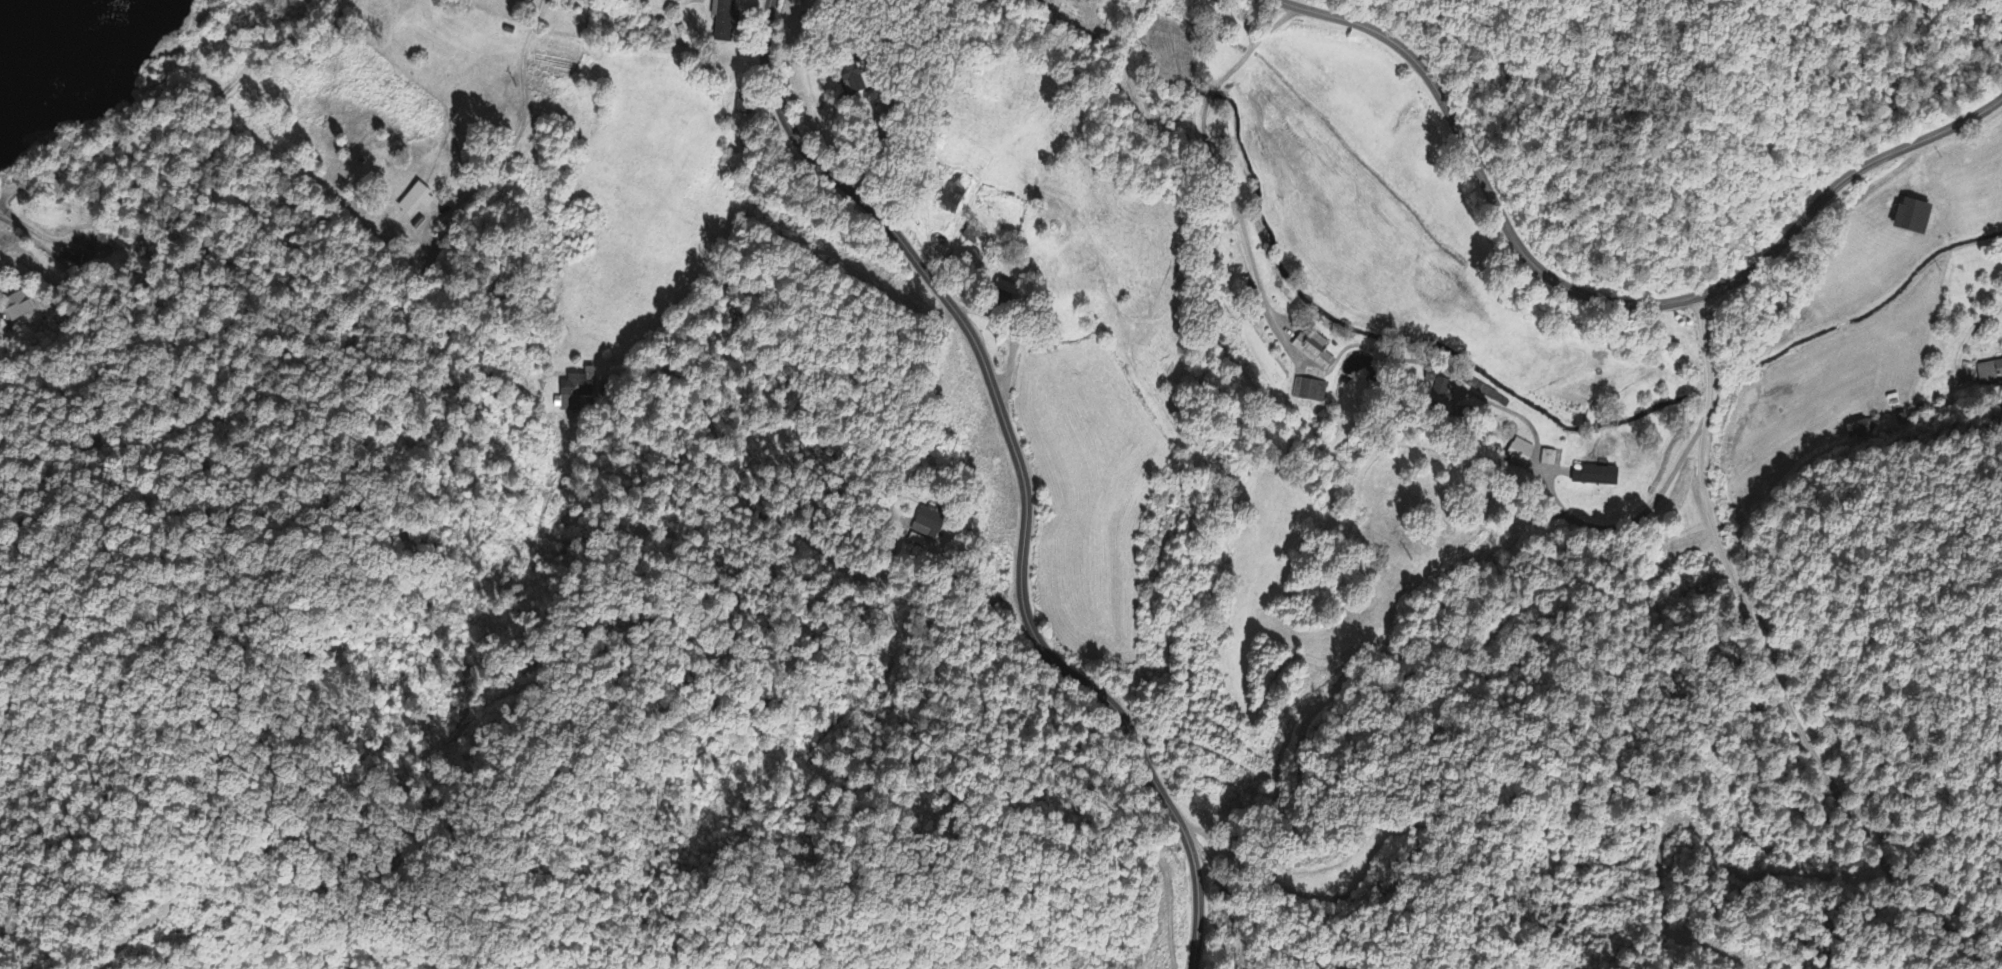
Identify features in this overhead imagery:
building: (723, 21)
building: (855, 81)
road: (190, 117)
building: (953, 196)
building: (417, 202)
building: (1916, 219)
building: (1009, 290)
road: (1602, 301)
building: (1316, 353)
building: (1990, 373)
building: (1437, 385)
building: (1310, 393)
building: (575, 395)
road: (894, 404)
building: (1521, 453)
building: (1549, 460)
road: (1012, 475)
building: (1597, 479)
building: (929, 524)
road: (1768, 667)

